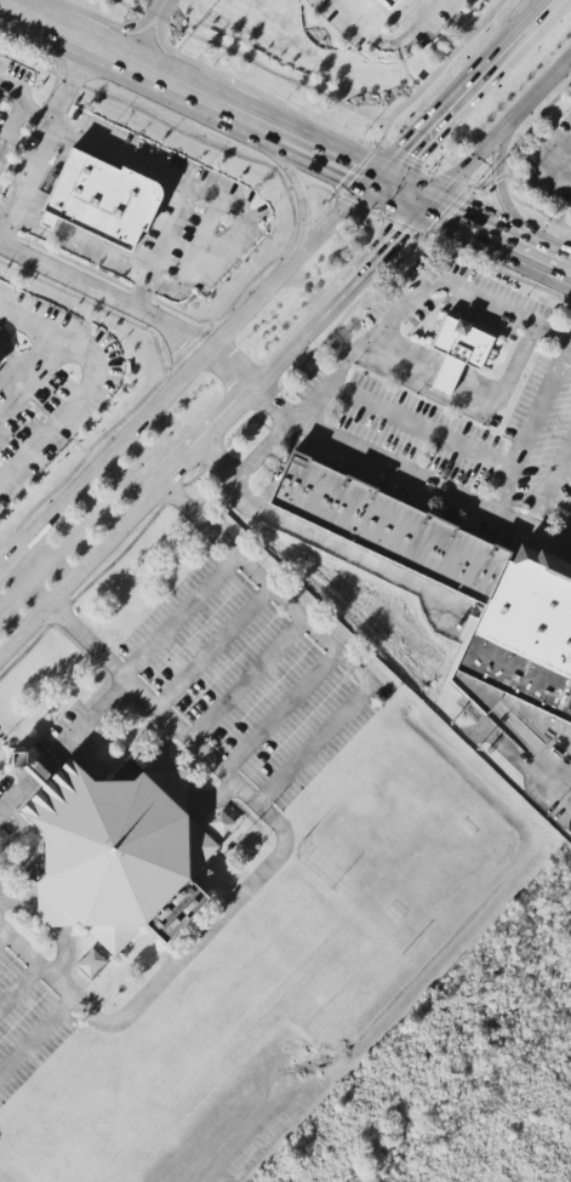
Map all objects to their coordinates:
building: (387, 4)
road: (142, 33)
road: (382, 36)
road: (11, 129)
road: (284, 141)
road: (42, 148)
traffic signals: (401, 153)
road: (116, 156)
road: (563, 164)
traffic signals: (350, 171)
road: (301, 190)
building: (103, 199)
road: (507, 199)
road: (7, 216)
traffic signals: (451, 218)
traffic signals: (406, 232)
road: (221, 239)
road: (161, 251)
road: (138, 275)
road: (273, 286)
road: (132, 312)
road: (381, 326)
building: (456, 353)
road: (284, 359)
road: (34, 378)
road: (90, 381)
road: (468, 392)
road: (555, 419)
road: (418, 427)
road: (532, 427)
road: (409, 474)
road: (550, 482)
road: (324, 542)
road: (570, 546)
road: (2, 563)
building: (457, 583)
road: (181, 615)
road: (325, 639)
road: (215, 647)
road: (246, 679)
road: (281, 712)
road: (64, 748)
road: (555, 771)
road: (176, 782)
building: (118, 855)
road: (265, 869)
road: (52, 923)
road: (2, 935)
road: (19, 986)
road: (38, 1040)

